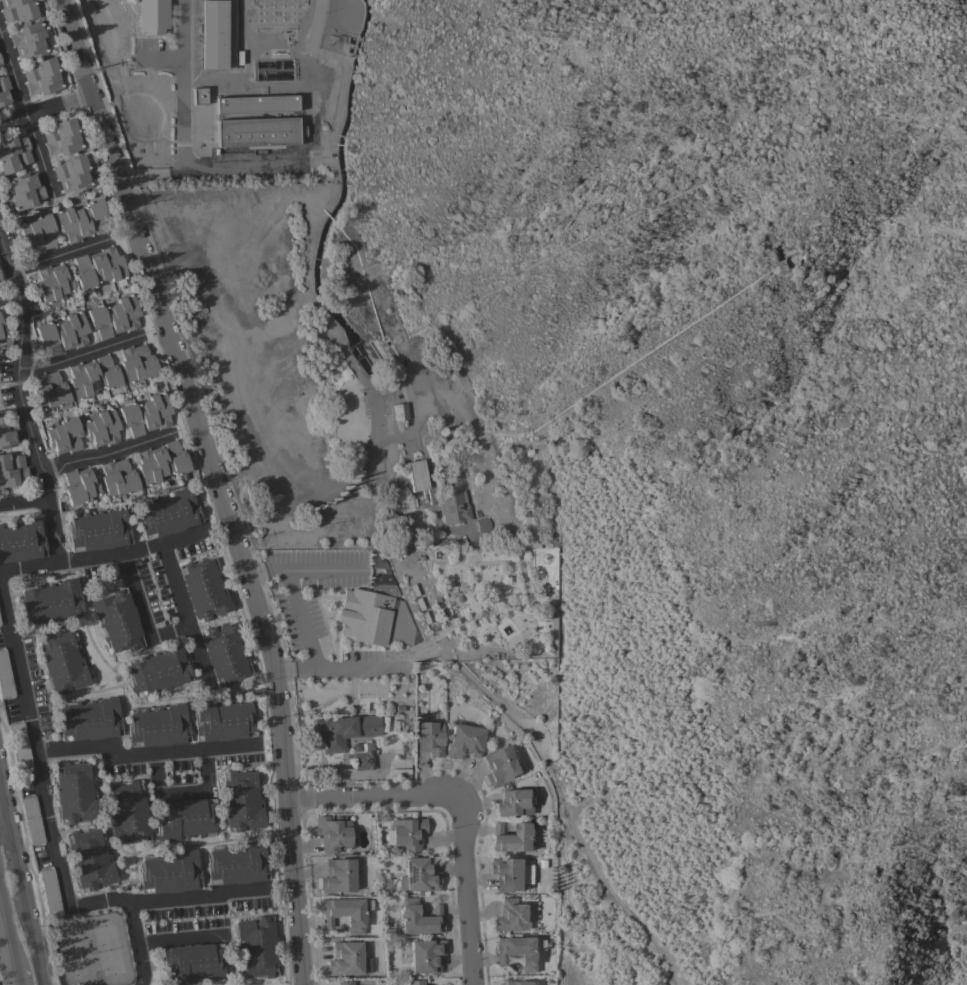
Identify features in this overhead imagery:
building: (18, 10)
building: (153, 16)
building: (216, 33)
building: (28, 40)
building: (0, 62)
building: (42, 77)
building: (4, 91)
building: (199, 95)
building: (256, 104)
road: (43, 107)
road: (24, 119)
building: (257, 131)
building: (62, 137)
road: (178, 144)
building: (13, 154)
building: (241, 155)
building: (72, 173)
road: (146, 173)
building: (25, 190)
building: (82, 220)
building: (38, 233)
road: (61, 257)
building: (98, 267)
building: (53, 283)
building: (0, 286)
road: (9, 297)
building: (114, 316)
building: (2, 329)
building: (62, 333)
road: (80, 354)
road: (18, 360)
building: (137, 363)
building: (92, 376)
building: (49, 391)
building: (400, 411)
building: (146, 414)
building: (102, 427)
building: (7, 431)
building: (64, 435)
road: (107, 449)
building: (161, 462)
building: (12, 469)
building: (416, 475)
building: (119, 479)
building: (79, 485)
road: (215, 485)
road: (314, 496)
building: (454, 507)
road: (48, 509)
building: (168, 513)
building: (483, 524)
building: (99, 529)
building: (20, 540)
road: (134, 550)
road: (31, 566)
road: (323, 568)
building: (203, 589)
building: (456, 597)
road: (295, 598)
building: (50, 601)
road: (139, 614)
road: (183, 616)
building: (365, 616)
building: (117, 620)
building: (224, 652)
building: (62, 663)
crop: (768, 664)
road: (335, 666)
building: (159, 671)
building: (5, 676)
building: (90, 719)
building: (223, 720)
building: (158, 726)
building: (345, 730)
building: (430, 738)
building: (464, 741)
building: (20, 746)
road: (142, 754)
building: (363, 760)
building: (501, 765)
building: (74, 793)
road: (373, 797)
building: (241, 801)
building: (515, 803)
road: (4, 808)
building: (127, 813)
building: (184, 819)
building: (32, 820)
road: (49, 820)
road: (4, 830)
building: (332, 833)
building: (407, 833)
building: (513, 838)
building: (89, 859)
building: (237, 864)
road: (15, 867)
building: (170, 872)
building: (420, 874)
building: (511, 874)
building: (337, 875)
road: (602, 878)
road: (461, 890)
building: (50, 892)
road: (201, 897)
building: (345, 913)
building: (512, 915)
building: (418, 917)
road: (10, 935)
road: (181, 938)
road: (32, 944)
building: (256, 946)
building: (519, 951)
building: (425, 955)
building: (347, 959)
building: (192, 963)
building: (415, 982)
building: (519, 982)
building: (345, 983)

